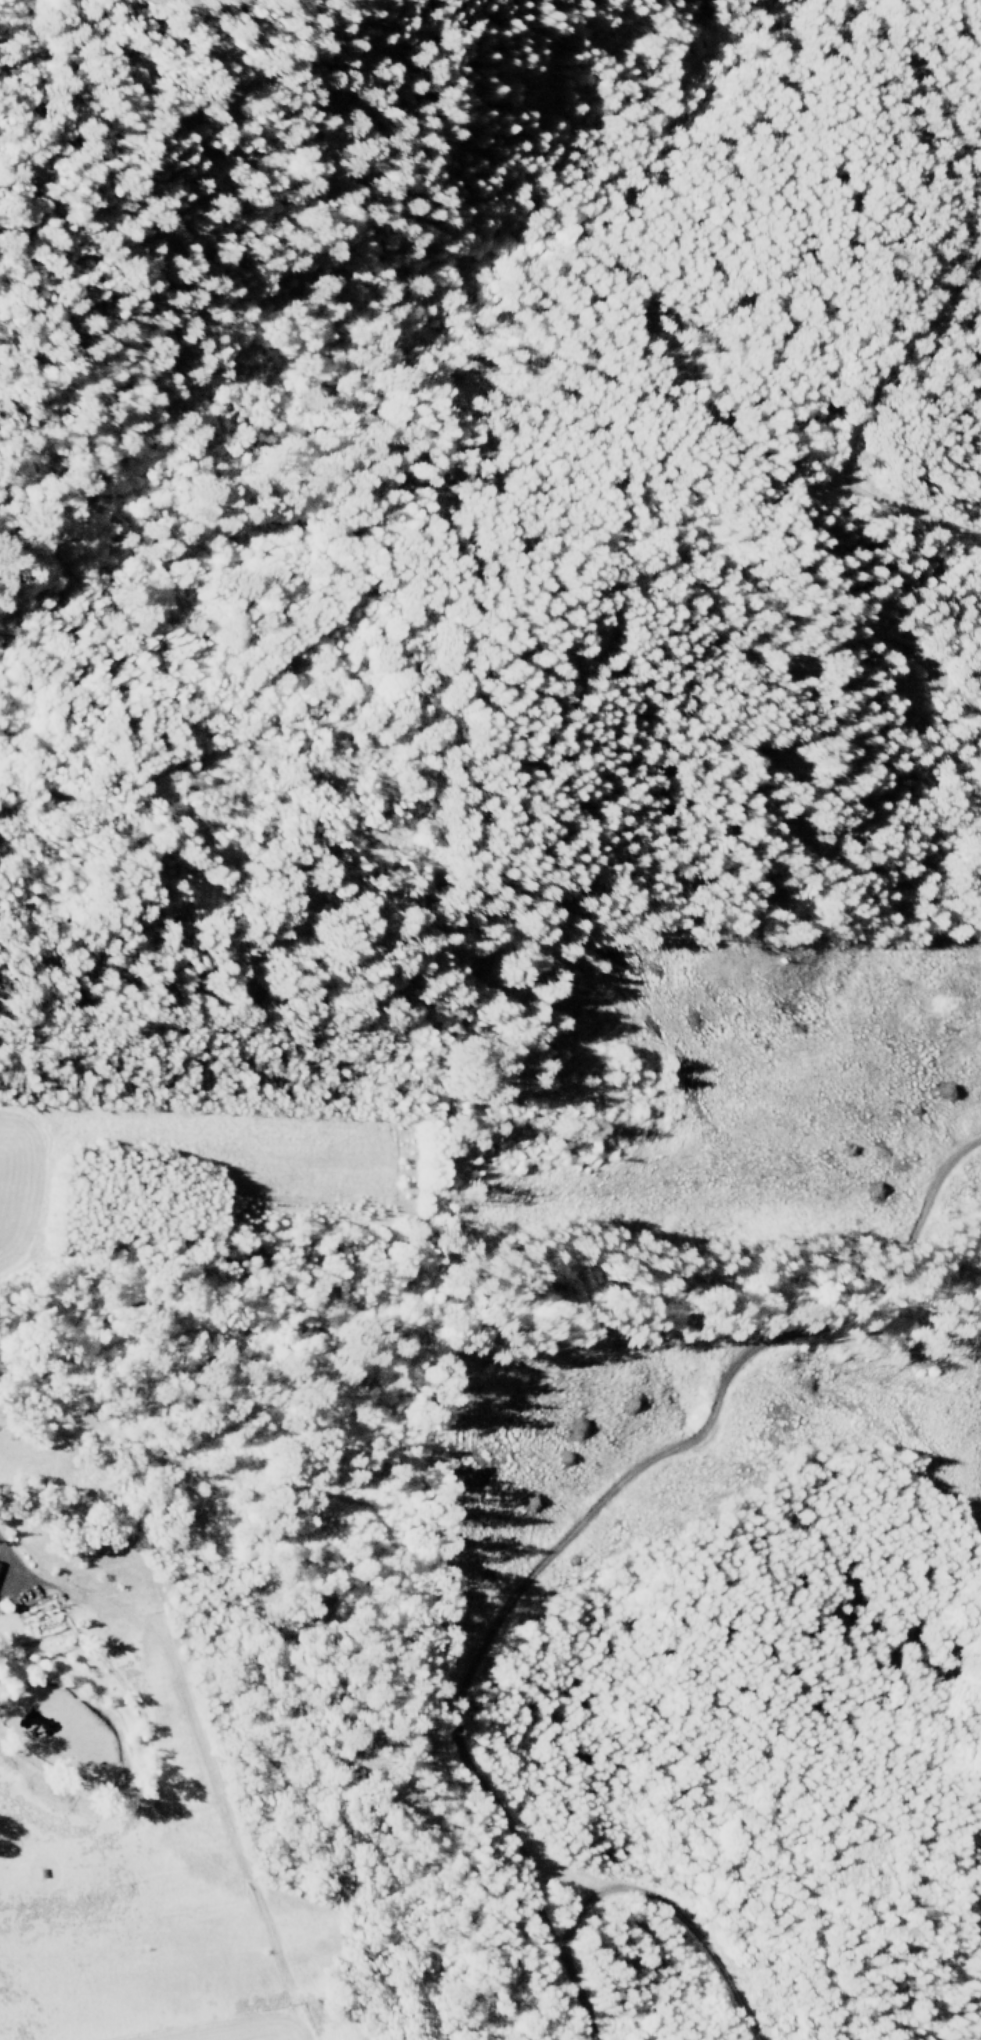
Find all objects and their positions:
road: (6, 1552)
road: (555, 1942)

